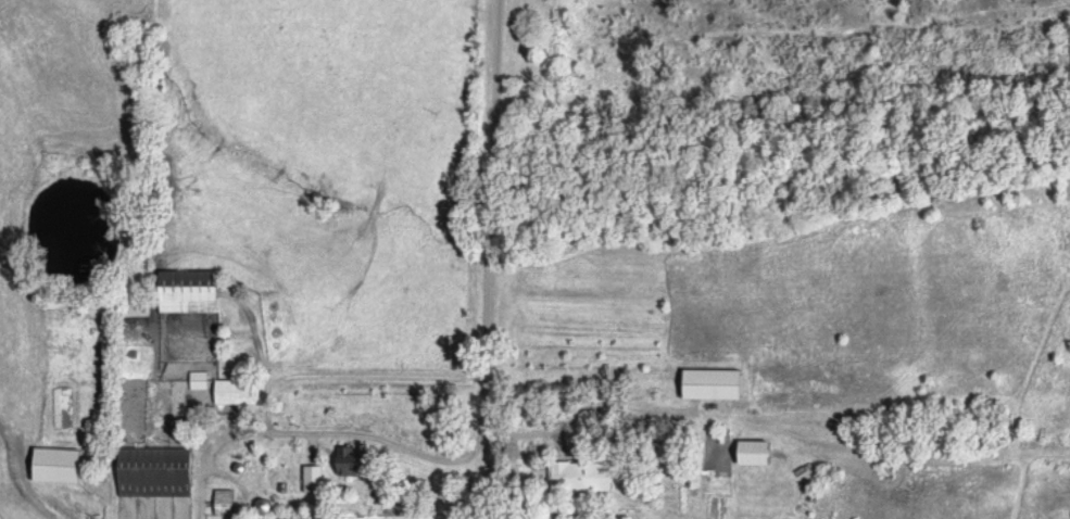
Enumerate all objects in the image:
road: (489, 220)
building: (187, 290)
building: (133, 307)
building: (708, 383)
building: (225, 388)
building: (751, 452)
building: (354, 460)
building: (53, 465)
building: (152, 471)
building: (577, 476)
building: (312, 478)
road: (477, 480)
building: (222, 502)
building: (294, 517)

